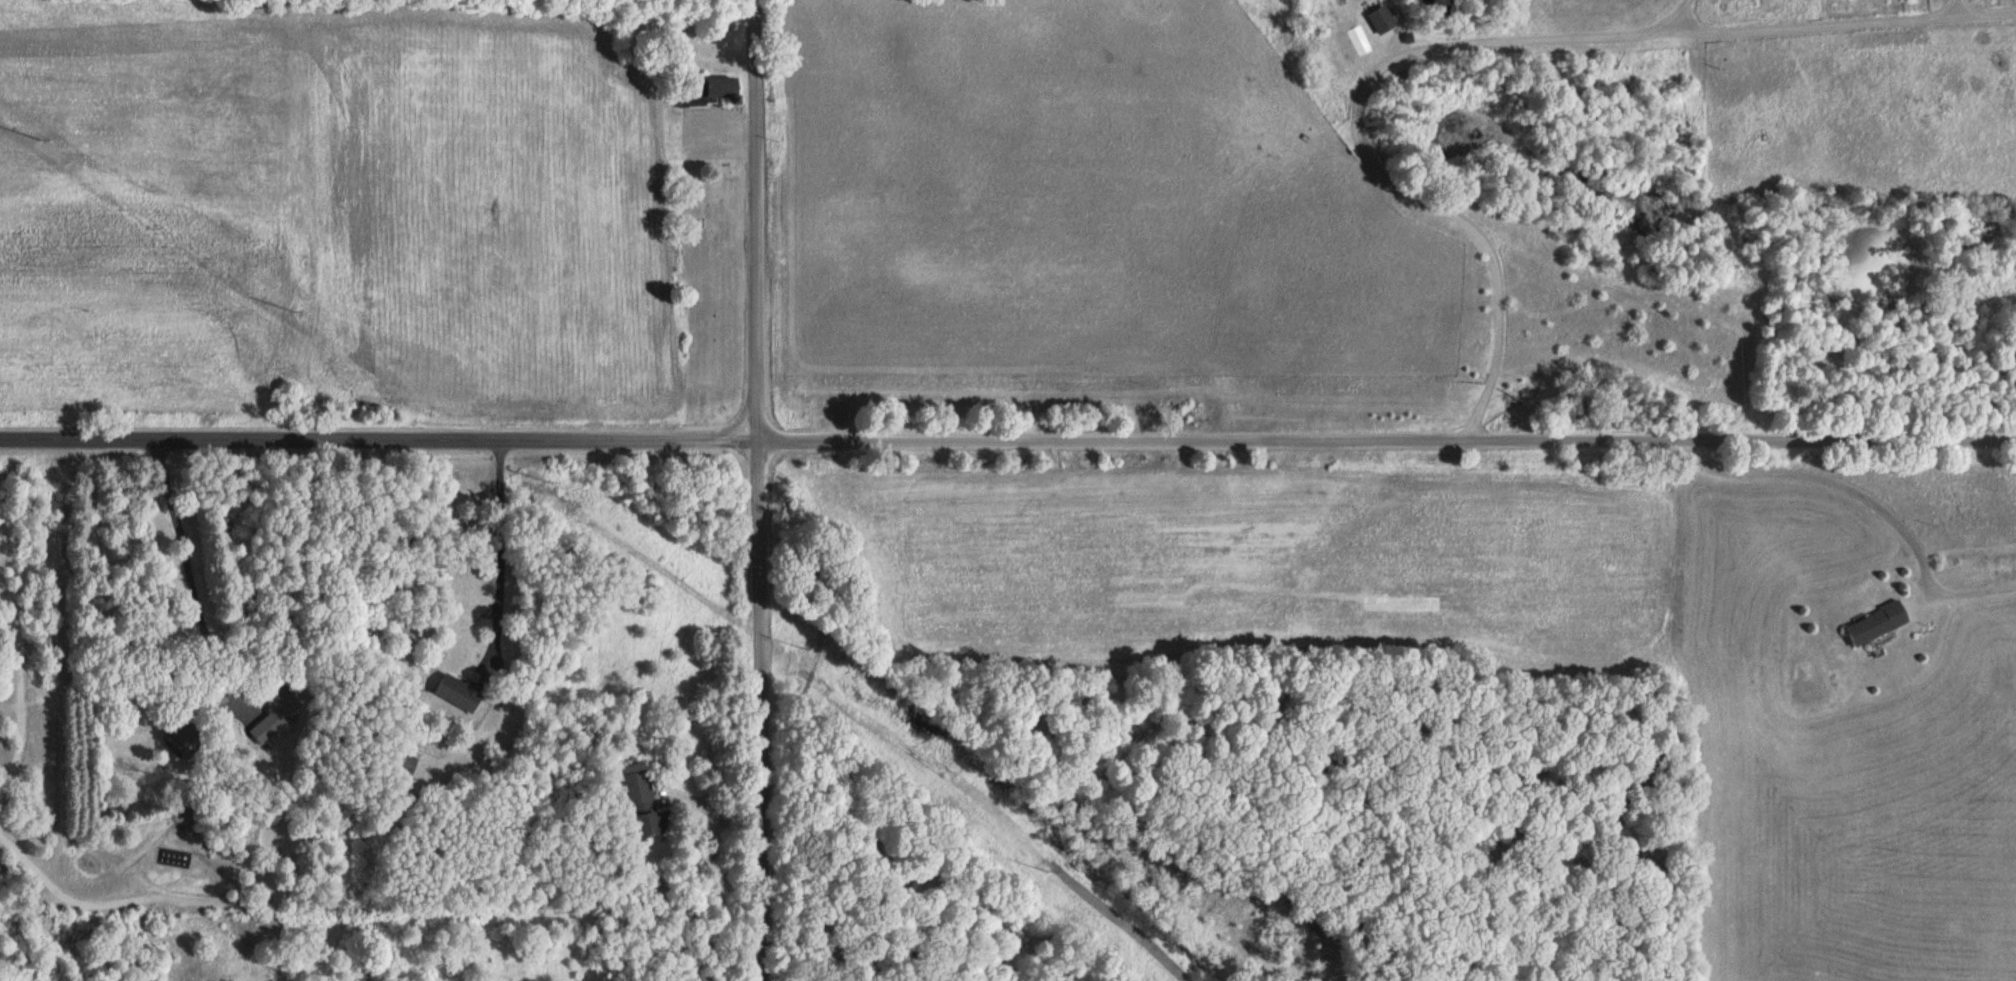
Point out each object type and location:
road: (1683, 12)
building: (1384, 19)
road: (1821, 21)
building: (727, 87)
building: (695, 101)
road: (1357, 136)
road: (755, 219)
road: (378, 440)
road: (1386, 441)
road: (501, 544)
road: (191, 576)
building: (1880, 624)
building: (462, 692)
road: (758, 709)
building: (268, 728)
building: (649, 802)

